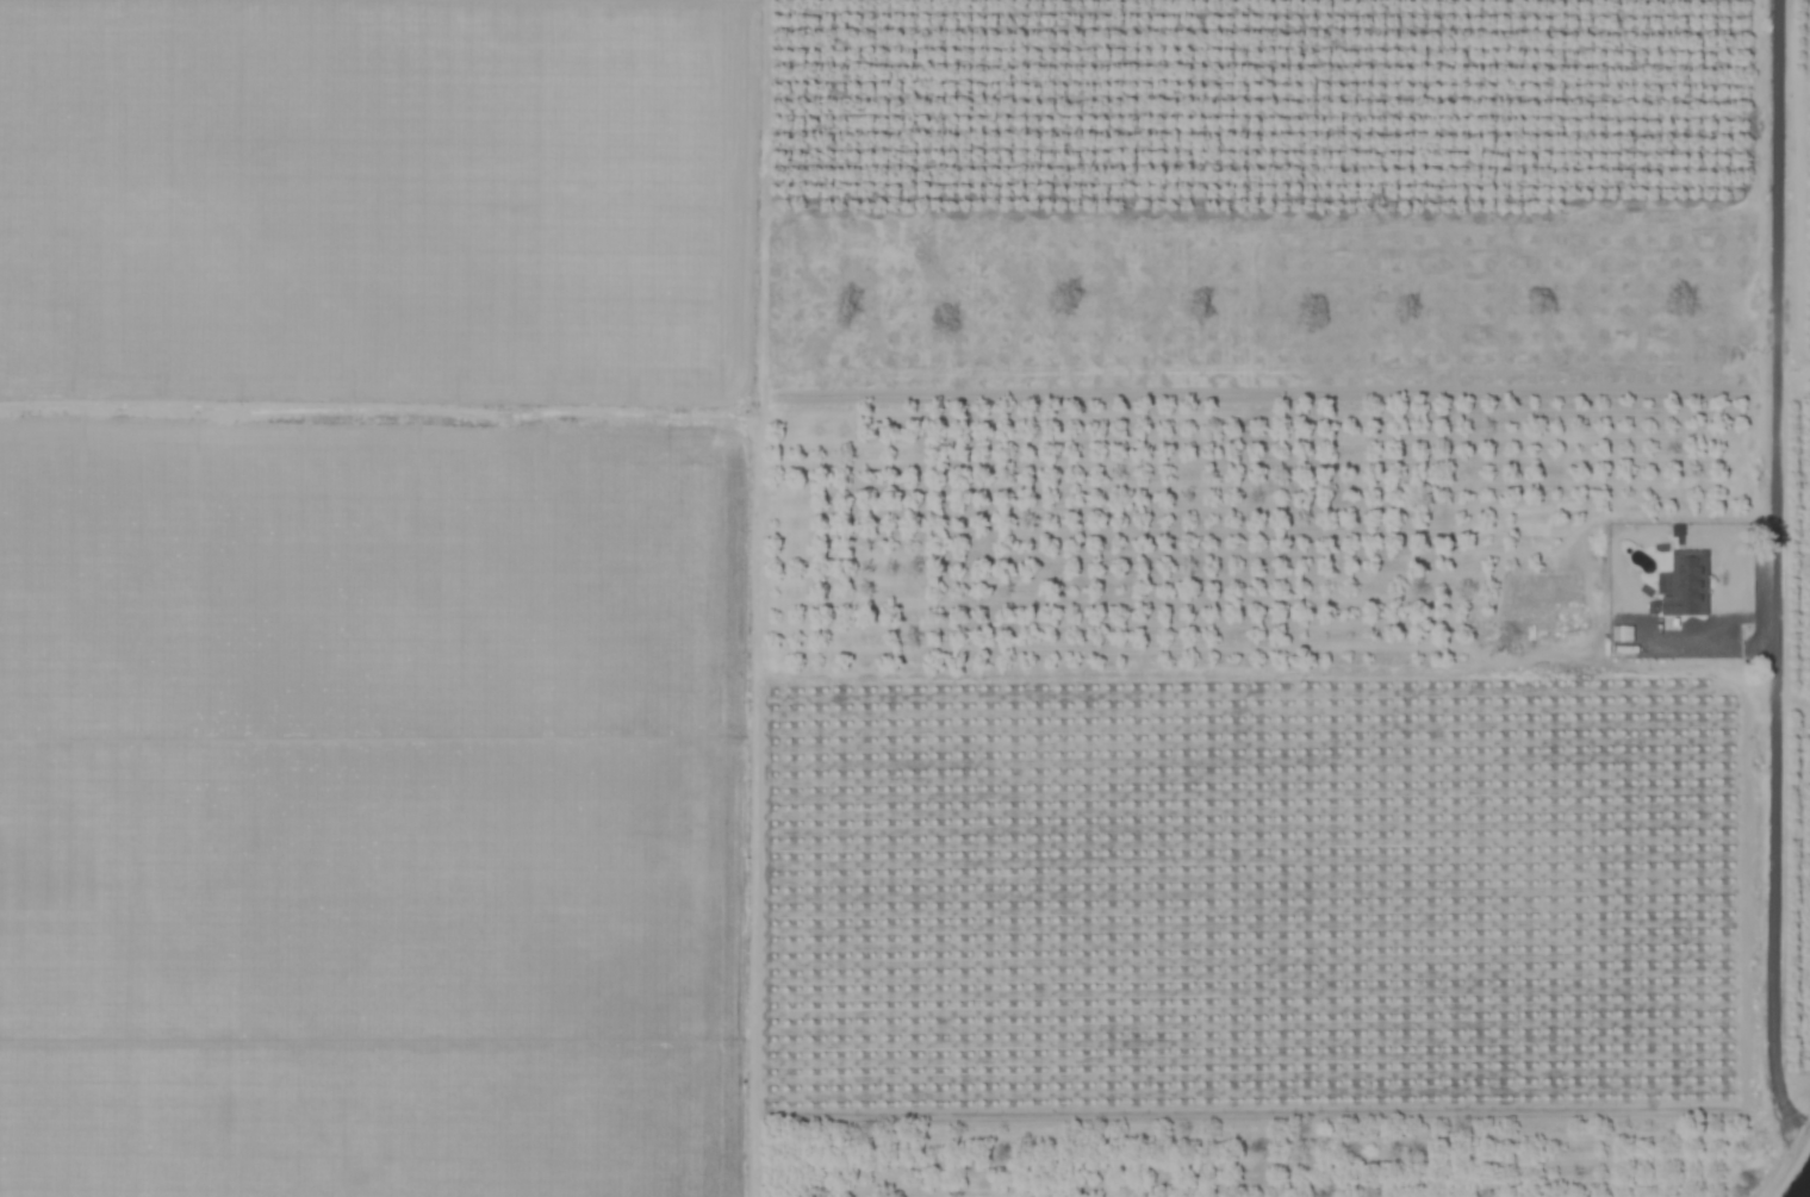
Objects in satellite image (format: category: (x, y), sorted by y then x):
road: (1777, 536)

